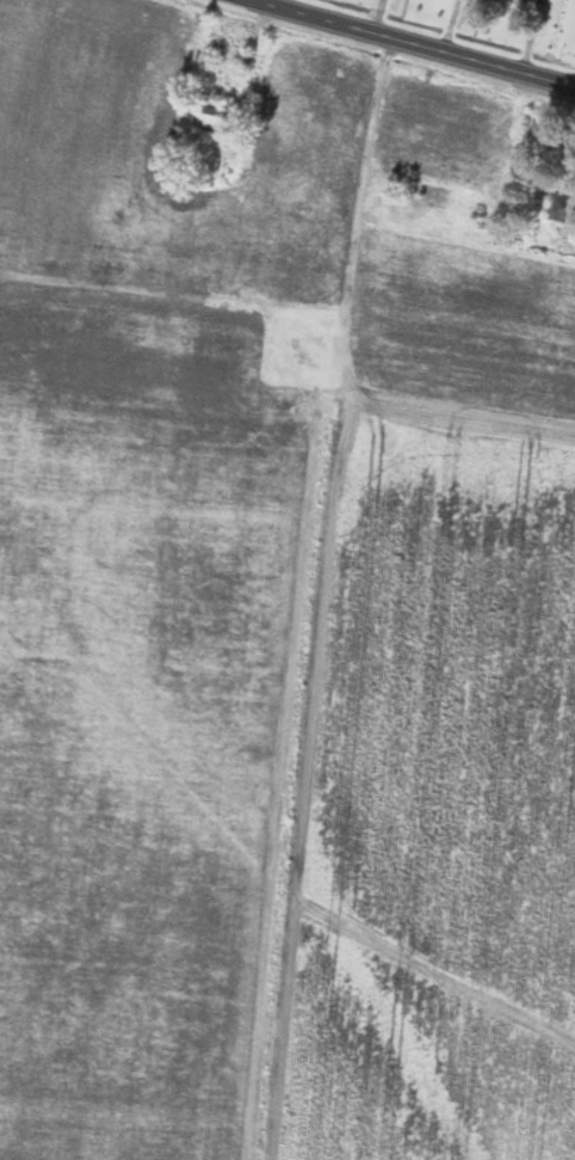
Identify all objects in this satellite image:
building: (537, 2)
road: (409, 42)
building: (211, 118)
building: (418, 189)
road: (303, 596)

